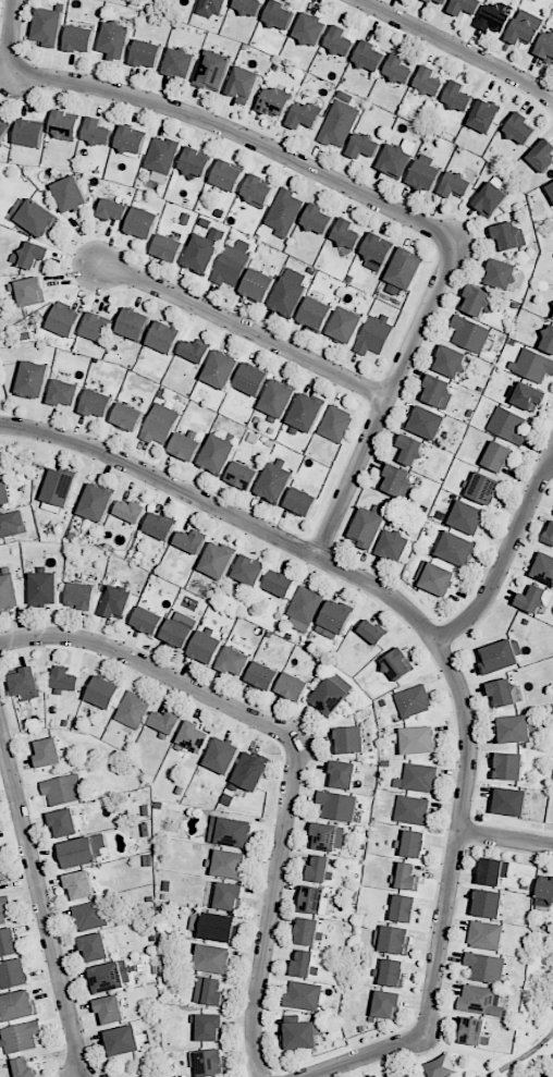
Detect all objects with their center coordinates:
building: (434, 0)
building: (447, 1)
building: (250, 5)
building: (210, 7)
building: (466, 7)
building: (282, 14)
building: (495, 19)
building: (50, 26)
building: (314, 28)
building: (524, 33)
road: (9, 36)
building: (82, 38)
building: (119, 38)
building: (342, 40)
building: (545, 45)
road: (456, 47)
building: (149, 53)
building: (372, 56)
building: (182, 62)
building: (401, 68)
building: (216, 70)
building: (431, 82)
building: (243, 84)
building: (460, 96)
building: (276, 101)
building: (307, 114)
building: (483, 115)
building: (66, 123)
building: (340, 123)
building: (523, 128)
building: (4, 130)
building: (100, 132)
building: (32, 133)
road: (239, 134)
building: (132, 139)
building: (366, 145)
building: (163, 154)
building: (541, 155)
building: (398, 160)
building: (197, 161)
building: (228, 175)
building: (427, 175)
building: (458, 184)
building: (550, 188)
building: (260, 191)
building: (72, 194)
building: (490, 199)
building: (113, 210)
building: (284, 211)
building: (37, 218)
building: (320, 218)
building: (144, 224)
building: (348, 234)
building: (512, 236)
building: (169, 247)
building: (379, 248)
building: (206, 250)
building: (36, 257)
building: (232, 266)
building: (406, 267)
building: (504, 273)
building: (260, 285)
building: (30, 292)
building: (291, 293)
building: (479, 298)
building: (317, 313)
building: (65, 322)
building: (134, 325)
building: (347, 325)
building: (98, 328)
road: (245, 329)
building: (376, 334)
building: (471, 334)
building: (165, 338)
building: (550, 339)
building: (196, 351)
building: (453, 362)
building: (533, 364)
building: (221, 370)
building: (34, 380)
building: (251, 380)
building: (441, 390)
building: (65, 392)
building: (528, 395)
road: (388, 400)
building: (278, 401)
building: (97, 404)
building: (306, 414)
building: (131, 417)
building: (337, 424)
building: (430, 424)
building: (508, 425)
building: (160, 426)
building: (186, 446)
building: (414, 449)
building: (218, 455)
building: (499, 457)
building: (1, 458)
building: (0, 473)
building: (244, 475)
building: (400, 480)
building: (275, 482)
building: (62, 488)
building: (486, 489)
building: (3, 495)
building: (302, 502)
building: (99, 503)
building: (133, 511)
building: (469, 518)
building: (11, 524)
building: (161, 527)
building: (368, 527)
building: (549, 535)
building: (193, 541)
building: (395, 547)
building: (458, 549)
road: (505, 554)
building: (219, 561)
building: (545, 567)
building: (249, 571)
building: (440, 579)
building: (281, 584)
building: (45, 589)
building: (9, 593)
building: (83, 597)
building: (534, 599)
building: (116, 601)
building: (306, 608)
road: (405, 609)
building: (339, 617)
building: (148, 621)
building: (180, 629)
building: (376, 633)
building: (207, 648)
building: (502, 657)
building: (234, 661)
building: (400, 664)
building: (265, 675)
building: (66, 680)
building: (27, 682)
building: (294, 686)
building: (103, 692)
building: (507, 693)
building: (333, 695)
building: (416, 702)
building: (134, 709)
building: (168, 723)
building: (519, 729)
building: (194, 736)
building: (419, 739)
building: (352, 741)
road: (296, 750)
building: (49, 754)
building: (225, 756)
building: (513, 766)
building: (254, 772)
building: (345, 773)
building: (421, 778)
building: (64, 790)
building: (512, 800)
building: (340, 805)
building: (414, 810)
building: (67, 822)
building: (233, 831)
building: (327, 836)
road: (505, 837)
building: (414, 843)
building: (79, 854)
building: (0, 858)
building: (230, 864)
building: (321, 869)
building: (494, 871)
building: (1, 873)
building: (407, 877)
building: (83, 885)
building: (0, 891)
building: (545, 892)
building: (231, 896)
building: (315, 899)
building: (491, 903)
road: (41, 906)
building: (405, 908)
building: (4, 910)
building: (91, 916)
building: (220, 928)
building: (311, 932)
building: (487, 934)
building: (396, 941)
building: (10, 943)
building: (98, 947)
building: (214, 958)
building: (306, 966)
building: (488, 967)
building: (392, 972)
building: (16, 975)
building: (110, 978)
park: (538, 987)
building: (210, 992)
building: (305, 996)
building: (481, 1002)
building: (389, 1003)
building: (20, 1006)
building: (113, 1011)
building: (210, 1027)
building: (476, 1031)
building: (305, 1035)
building: (22, 1038)
building: (126, 1041)
road: (460, 1051)
road: (523, 1055)
road: (365, 1056)
building: (213, 1064)
building: (441, 1067)
building: (27, 1068)
building: (407, 1075)
building: (414, 1076)

